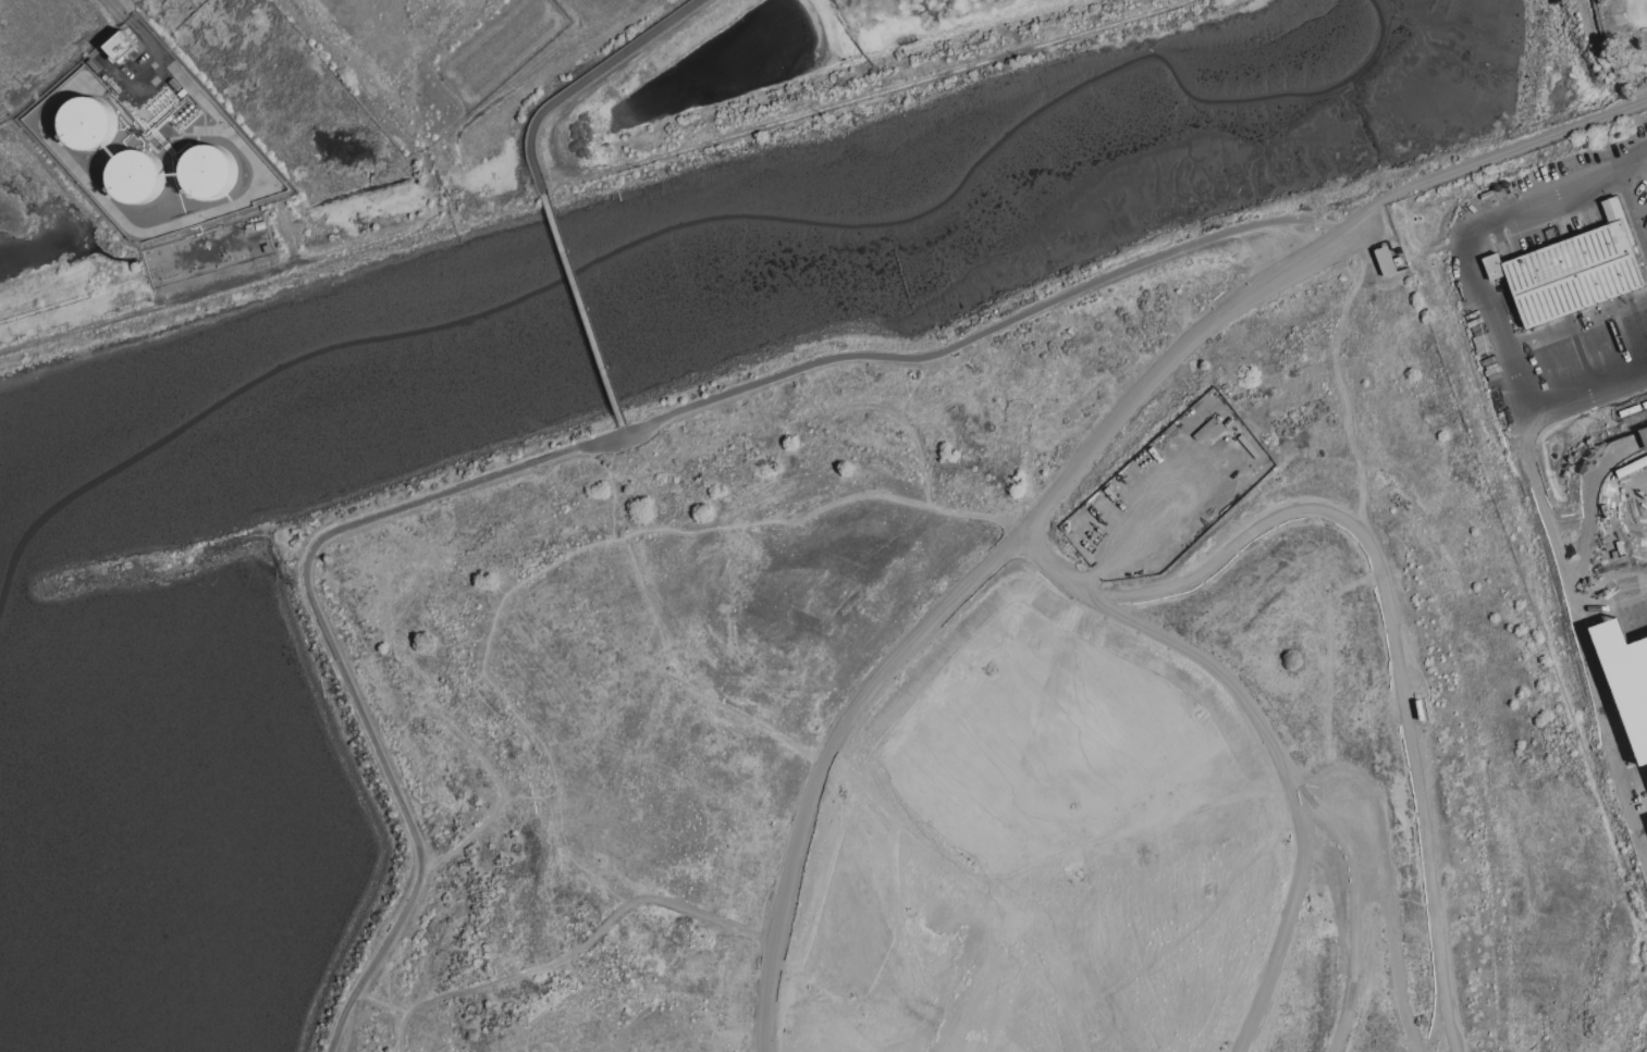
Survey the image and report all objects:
building: (122, 46)
road: (585, 79)
building: (88, 123)
storage tank: (88, 123)
road: (755, 132)
airport: (258, 147)
building: (208, 170)
storage tank: (208, 170)
building: (137, 176)
storage tank: (137, 176)
road: (211, 212)
road: (1635, 212)
building: (1618, 215)
building: (1385, 260)
building: (1495, 265)
building: (1574, 274)
road: (1479, 290)
road: (582, 310)
road: (1577, 343)
road: (1343, 398)
road: (624, 429)
building: (1644, 435)
road: (568, 451)
road: (1077, 465)
road: (1328, 486)
road: (1347, 577)
road: (1586, 660)
road: (743, 717)
road: (470, 748)
road: (471, 836)
road: (577, 951)
road: (383, 1001)
road: (759, 1048)

